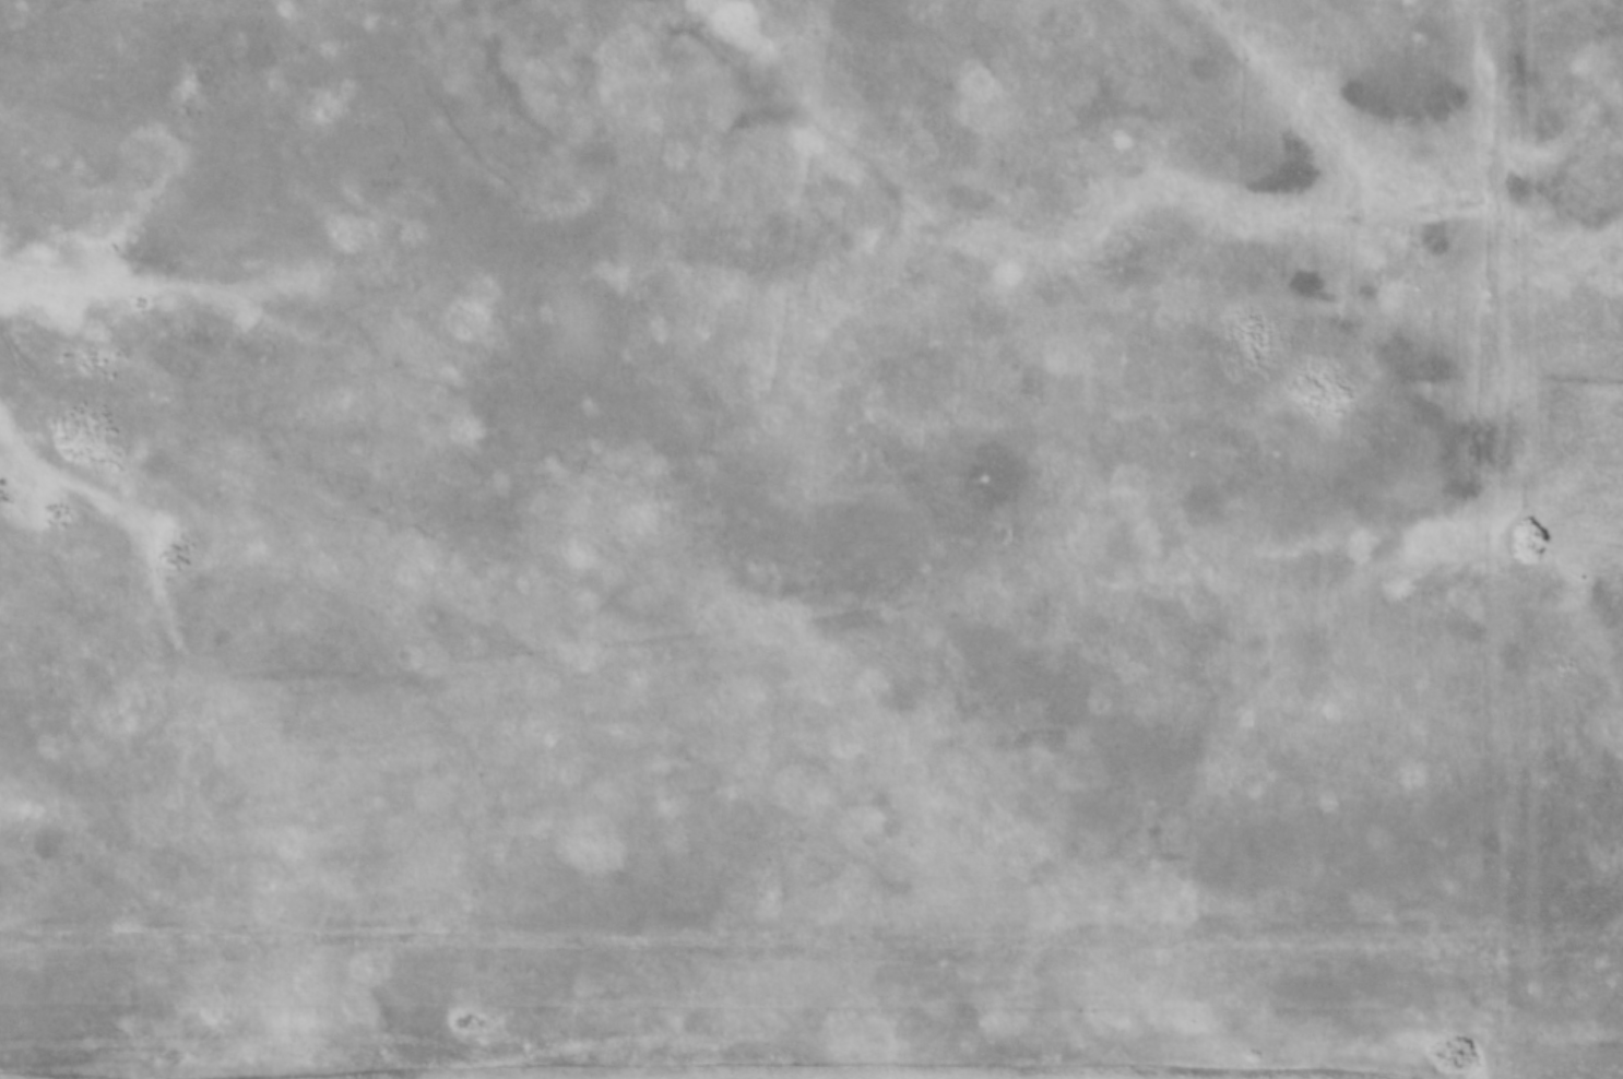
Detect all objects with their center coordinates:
road: (811, 1059)

